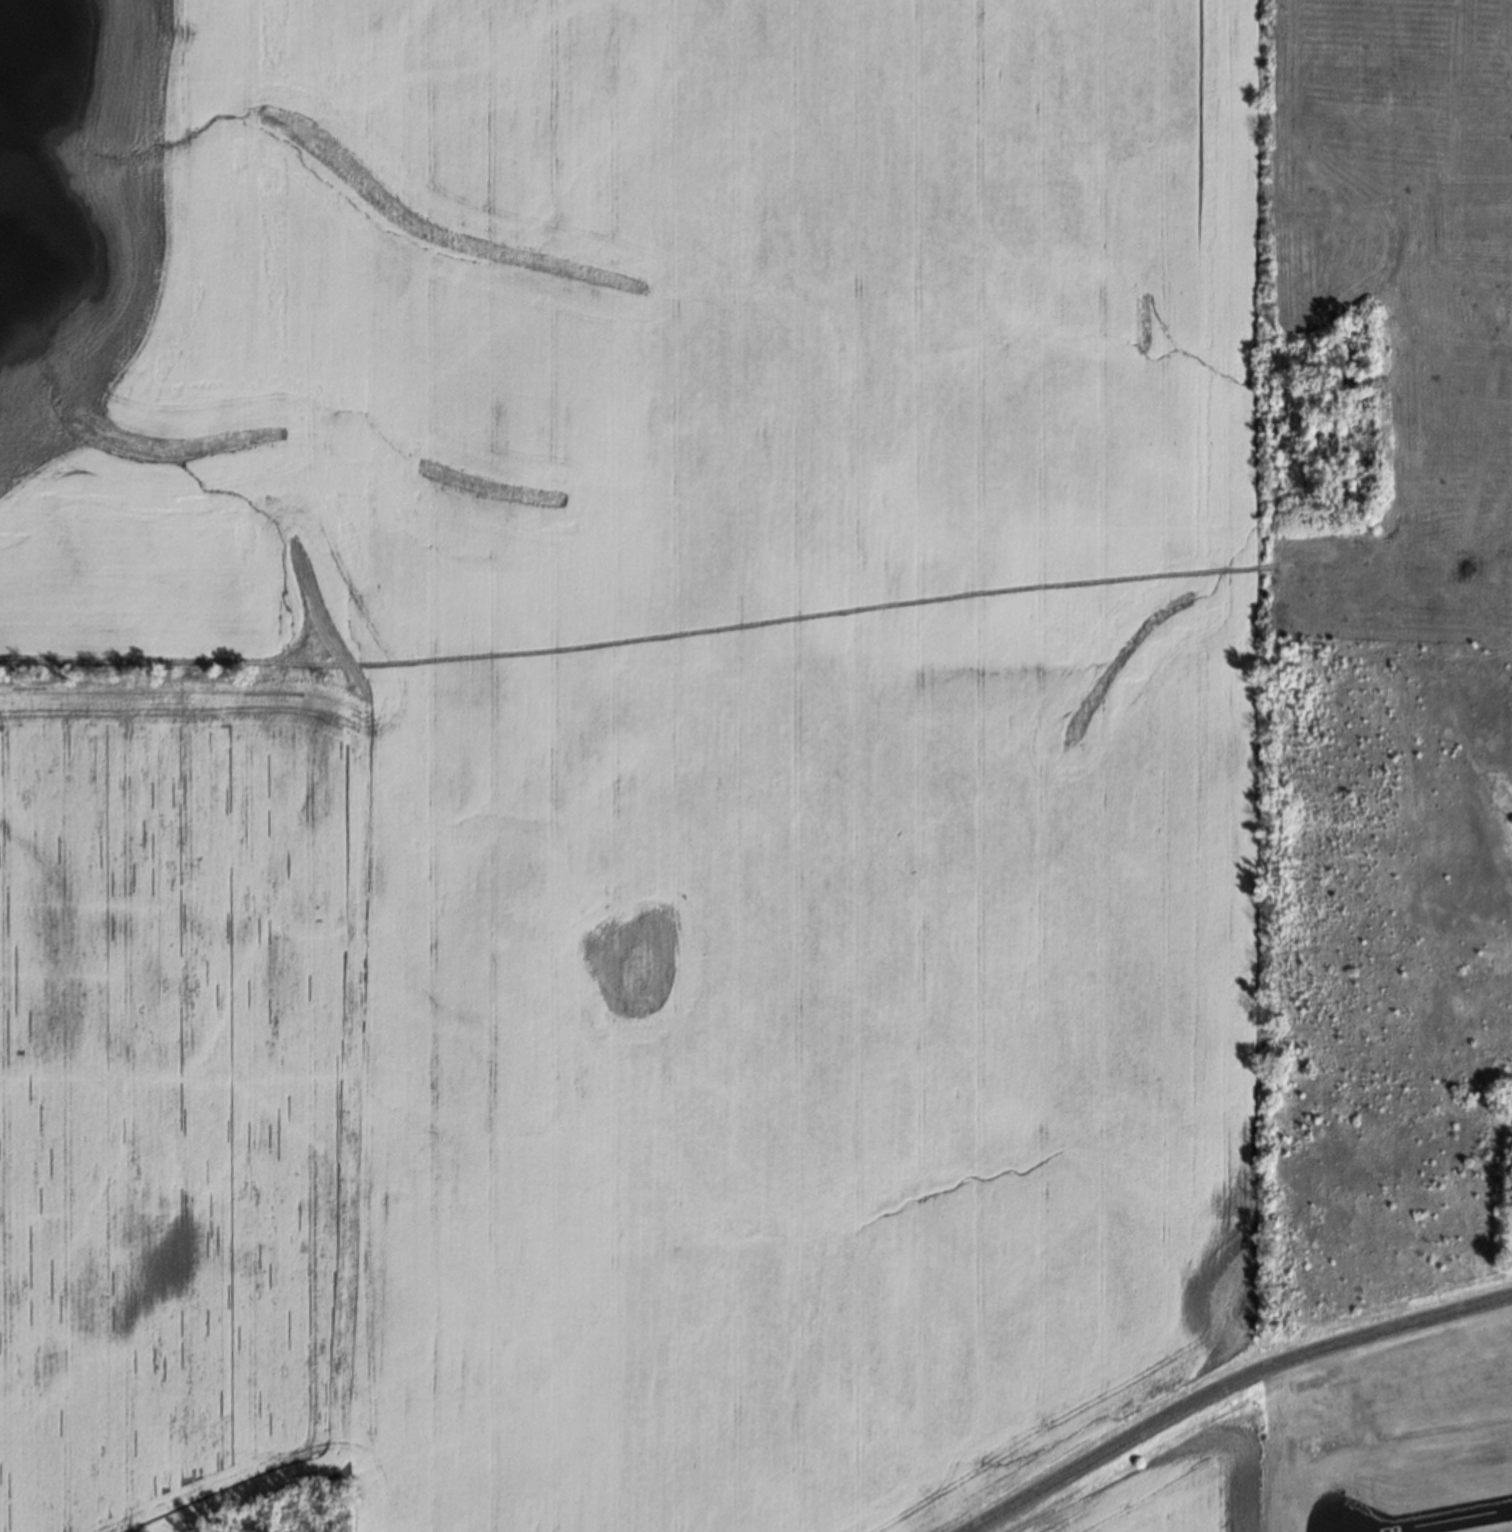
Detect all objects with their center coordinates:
road: (1230, 1382)
airport: (1392, 1429)
airport runway: (1451, 1447)
airport taxiway: (1348, 1509)
airport runway: (1444, 1519)

